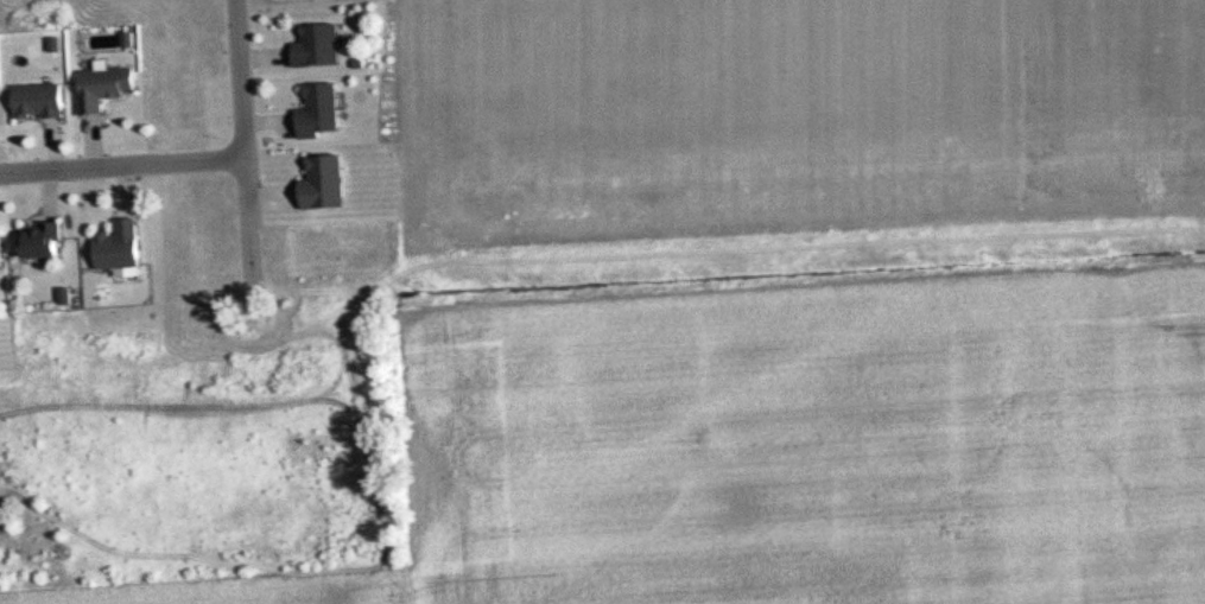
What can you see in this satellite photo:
building: (321, 45)
building: (106, 87)
building: (40, 100)
building: (322, 110)
road: (242, 147)
road: (121, 165)
building: (326, 182)
building: (43, 241)
building: (121, 243)
building: (1, 247)

